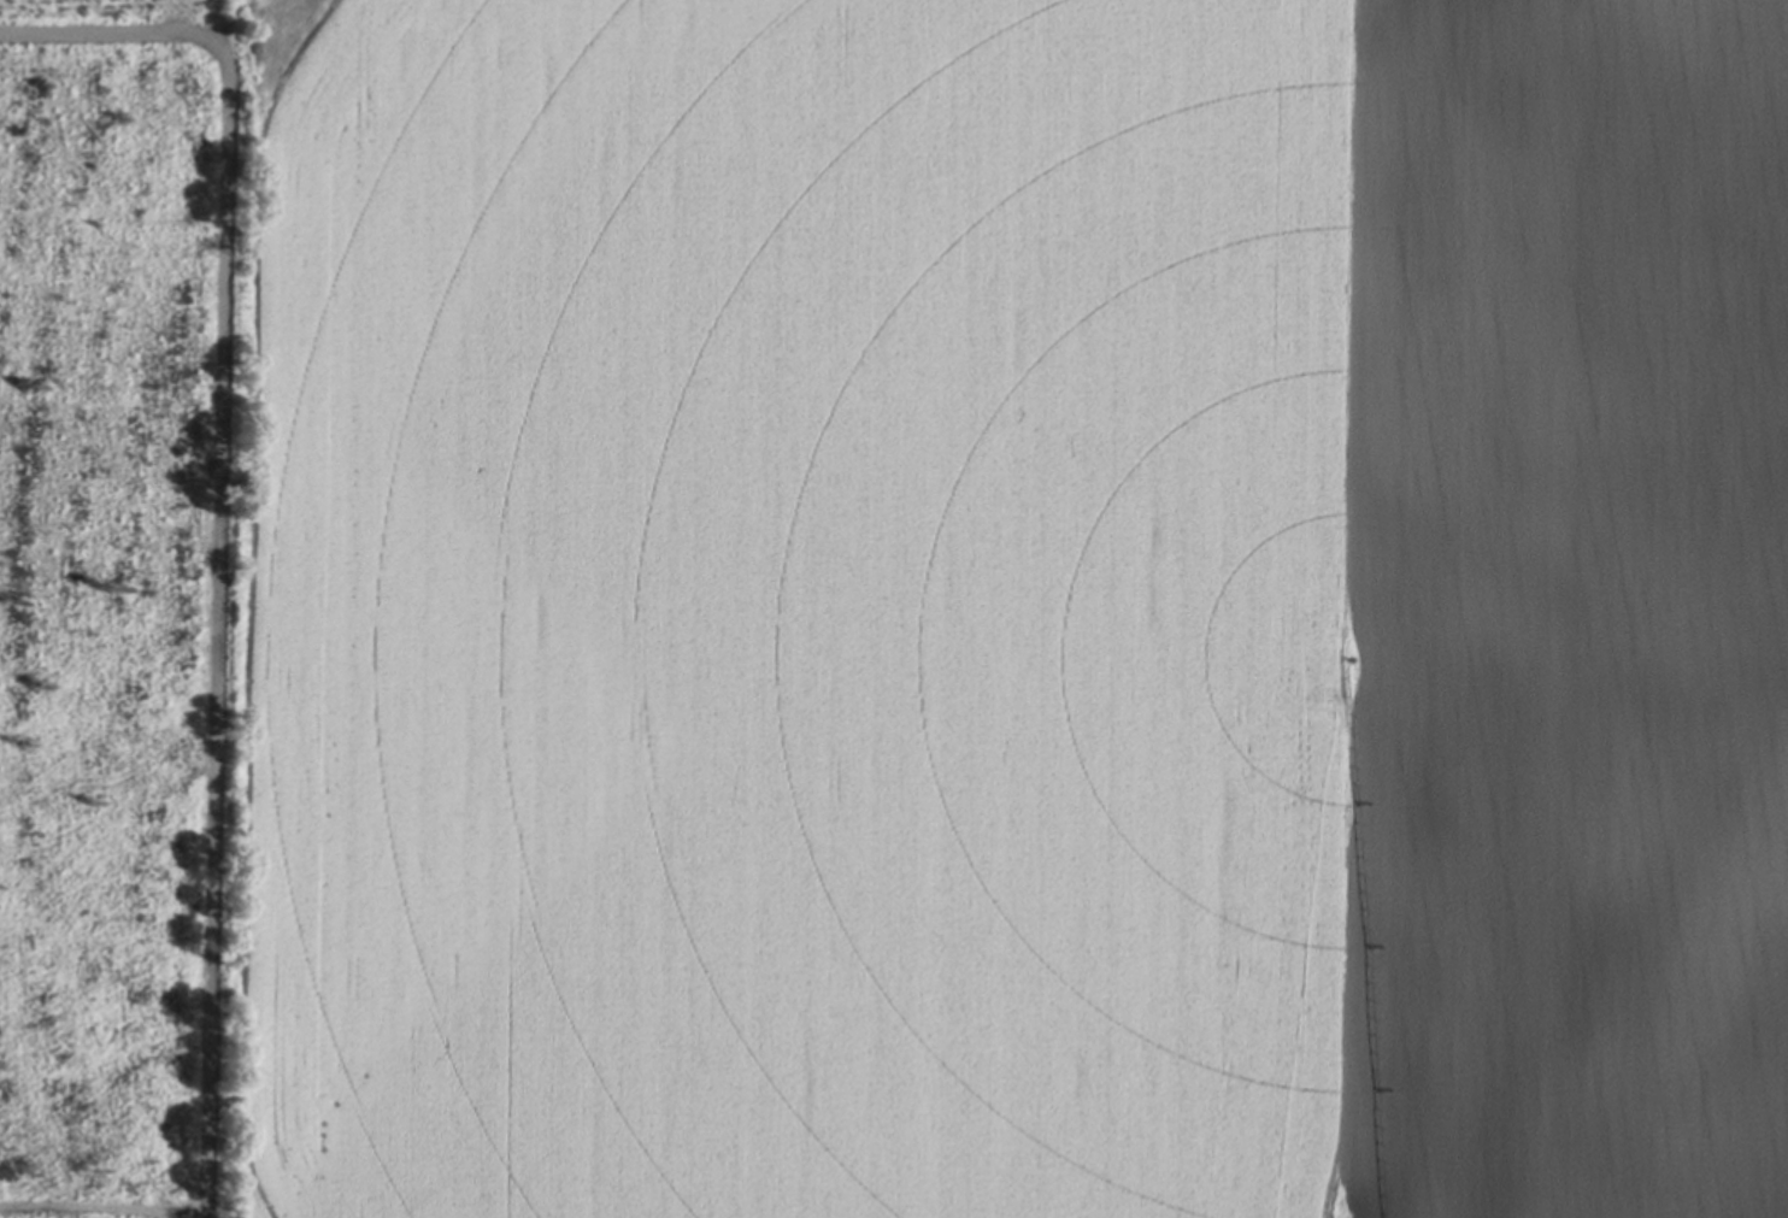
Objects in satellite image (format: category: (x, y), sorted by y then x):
road: (212, 520)
crop: (999, 610)

